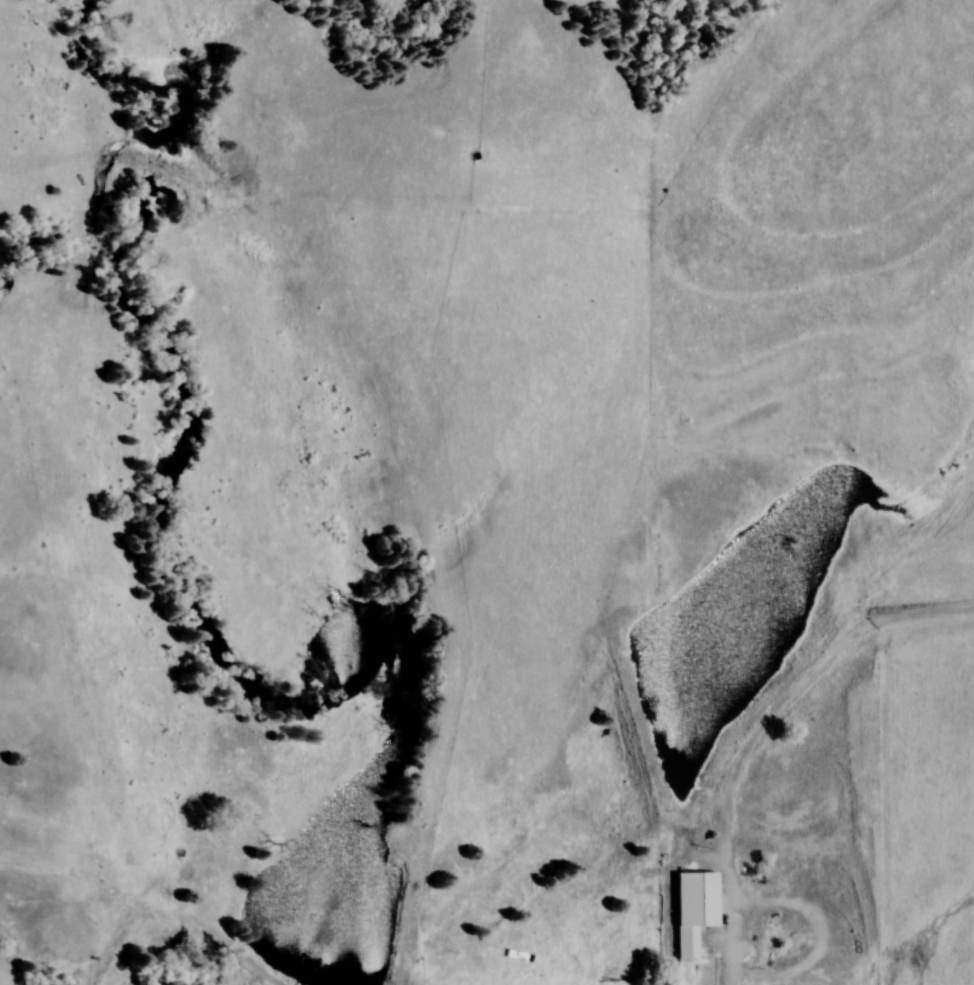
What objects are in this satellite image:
road: (813, 668)
building: (539, 910)
building: (692, 910)

